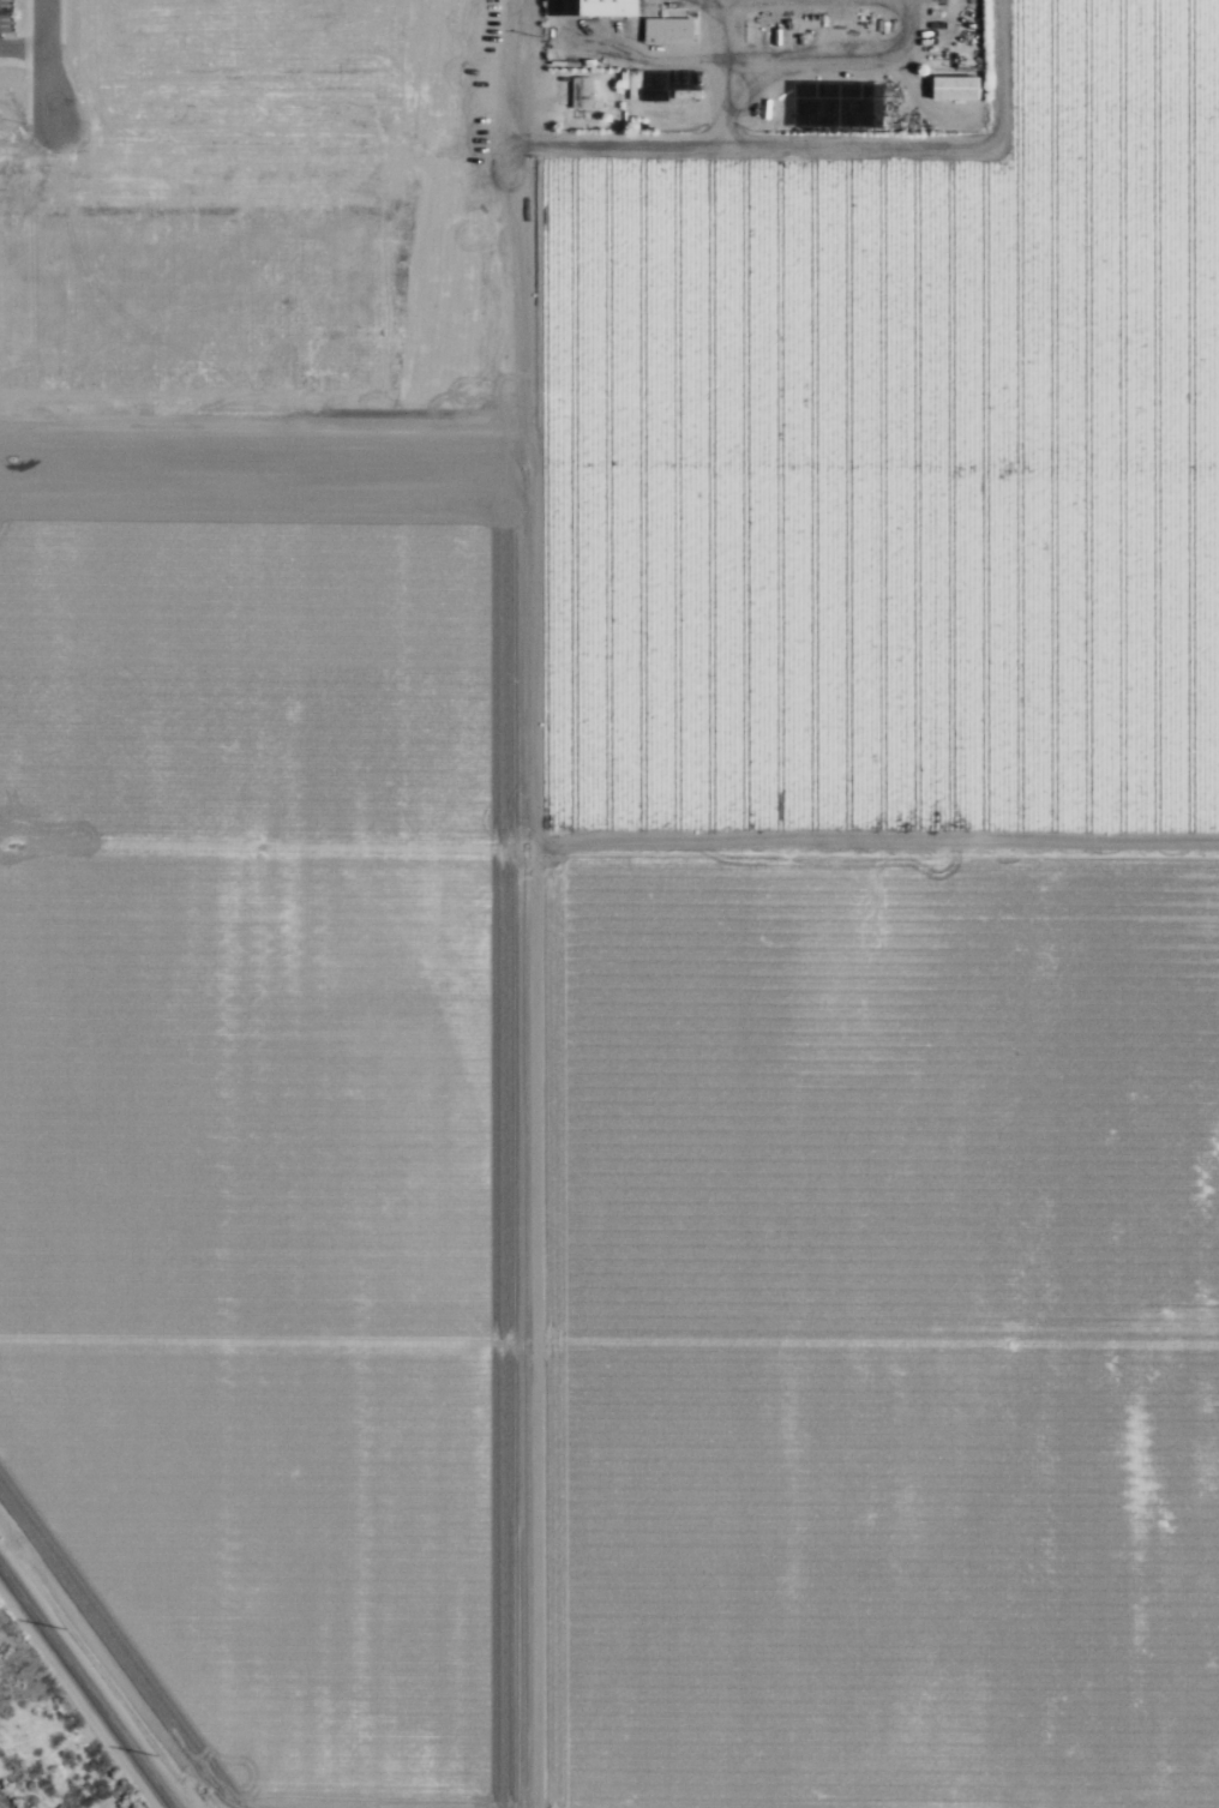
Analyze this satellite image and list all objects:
building: (562, 7)
building: (607, 7)
parking lot: (5, 13)
road: (62, 22)
building: (668, 30)
road: (23, 46)
road: (26, 59)
road: (13, 60)
road: (47, 60)
building: (955, 86)
building: (661, 90)
building: (581, 91)
road: (833, 150)
road: (608, 457)
road: (609, 839)
road: (532, 903)
crop: (651, 1001)
road: (609, 1333)
road: (101, 1668)
road: (88, 1687)

